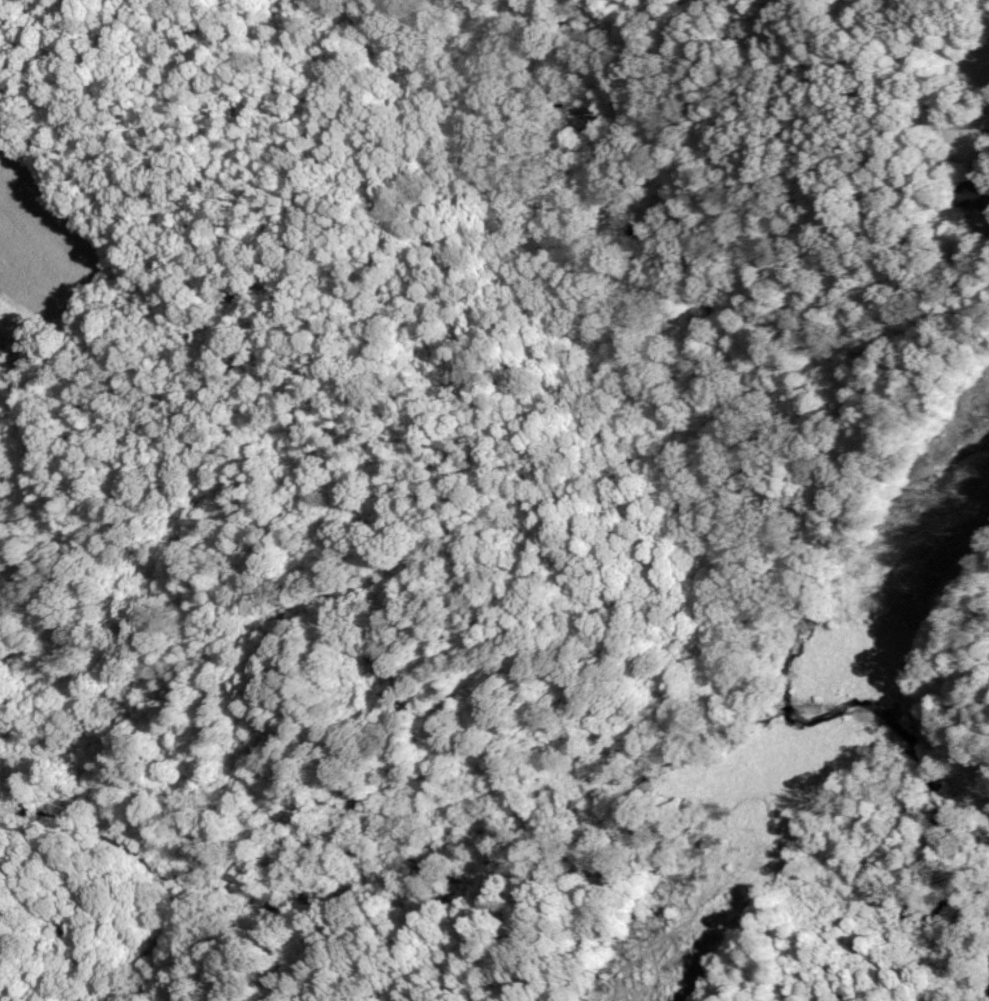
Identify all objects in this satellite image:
building: (973, 196)

